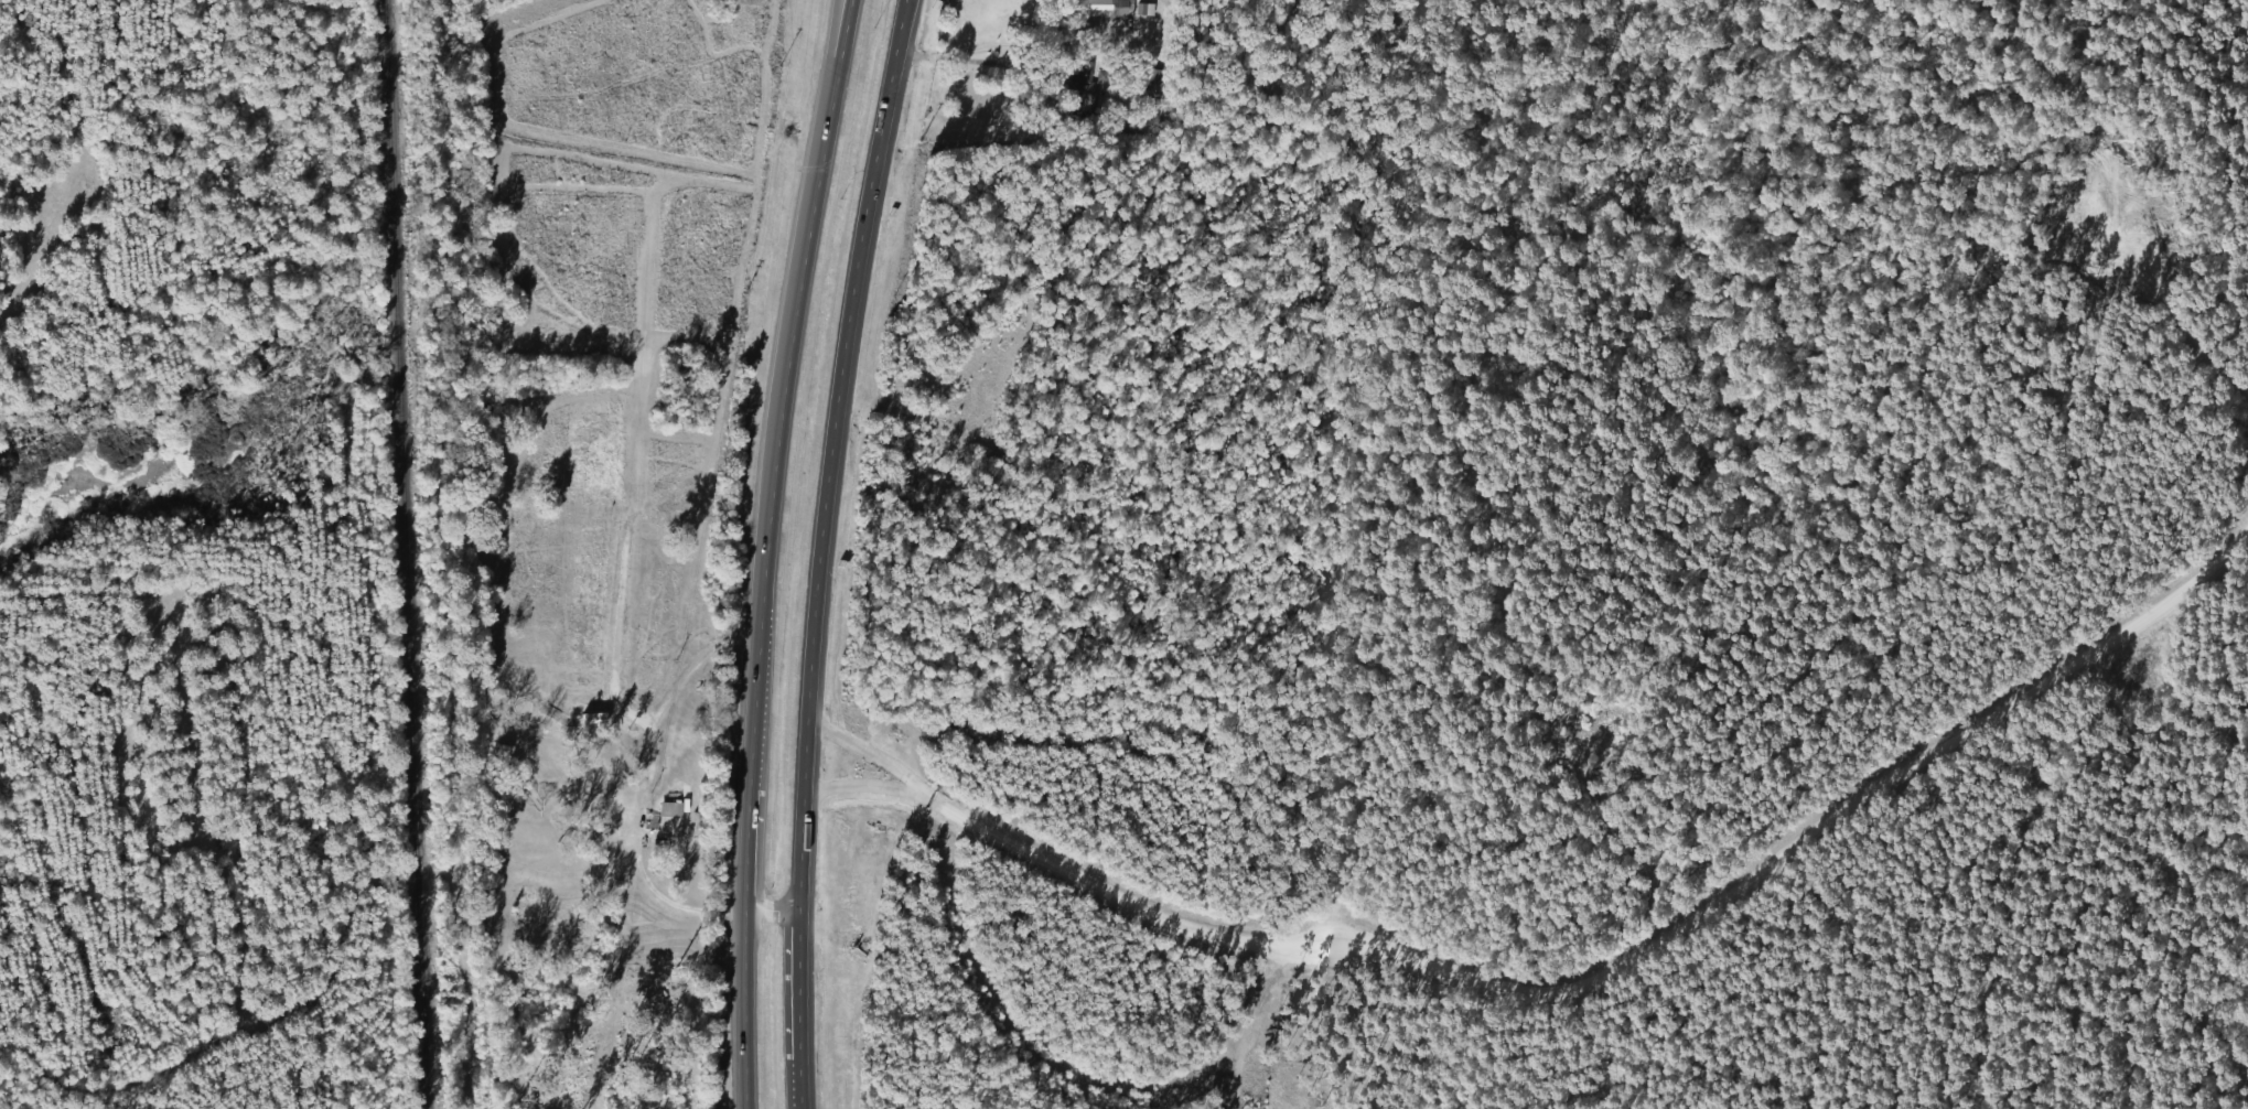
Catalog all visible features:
building: (1096, 7)
building: (1142, 10)
road: (824, 71)
building: (1144, 78)
building: (1079, 90)
road: (766, 550)
road: (817, 551)
railway: (404, 553)
building: (496, 752)
road: (869, 752)
road: (862, 784)
building: (665, 820)
road: (680, 905)
road: (774, 913)
road: (1631, 957)

